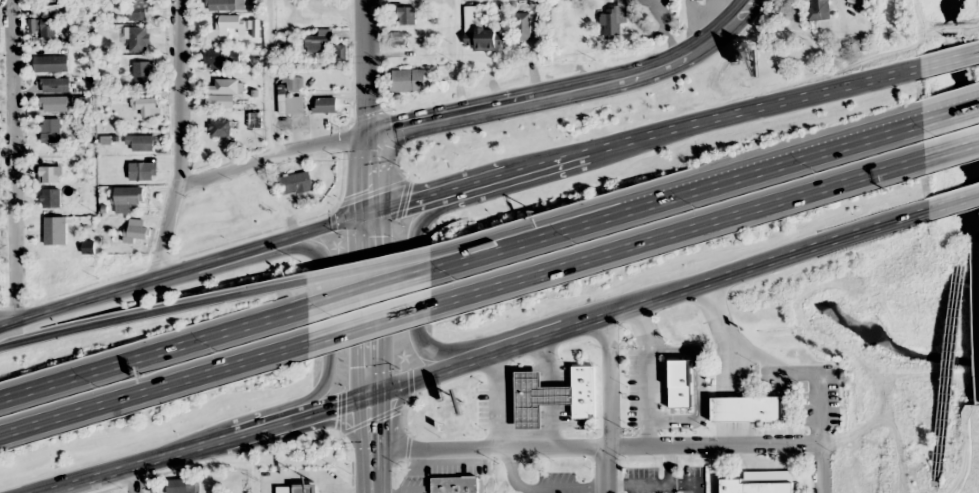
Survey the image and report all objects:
building: (225, 5)
building: (821, 9)
building: (138, 10)
building: (328, 16)
building: (406, 16)
building: (232, 22)
building: (611, 23)
building: (523, 26)
road: (696, 26)
building: (47, 27)
building: (484, 38)
building: (139, 39)
building: (320, 42)
building: (222, 55)
road: (949, 60)
building: (50, 63)
road: (365, 68)
building: (142, 74)
building: (408, 80)
building: (55, 85)
building: (224, 87)
road: (569, 90)
building: (56, 103)
building: (145, 105)
building: (325, 105)
road: (948, 113)
building: (255, 120)
river: (956, 125)
road: (177, 126)
building: (219, 128)
building: (50, 130)
traffic signals: (365, 136)
building: (142, 143)
road: (951, 150)
road: (269, 156)
road: (14, 159)
building: (140, 171)
building: (49, 174)
building: (296, 183)
road: (467, 187)
road: (674, 197)
building: (50, 198)
building: (128, 199)
road: (951, 200)
traffic signals: (370, 213)
road: (541, 228)
road: (676, 228)
building: (55, 231)
building: (136, 231)
road: (368, 266)
building: (59, 276)
building: (0, 282)
road: (412, 282)
road: (369, 288)
road: (153, 313)
road: (371, 314)
road: (9, 318)
road: (368, 320)
road: (9, 321)
road: (328, 325)
road: (153, 352)
road: (484, 354)
building: (409, 360)
building: (682, 377)
road: (152, 386)
building: (553, 396)
traffic signals: (372, 399)
road: (607, 405)
building: (748, 408)
road: (598, 446)
road: (823, 468)
road: (133, 480)
building: (454, 484)
building: (769, 485)
building: (182, 486)
building: (295, 489)

